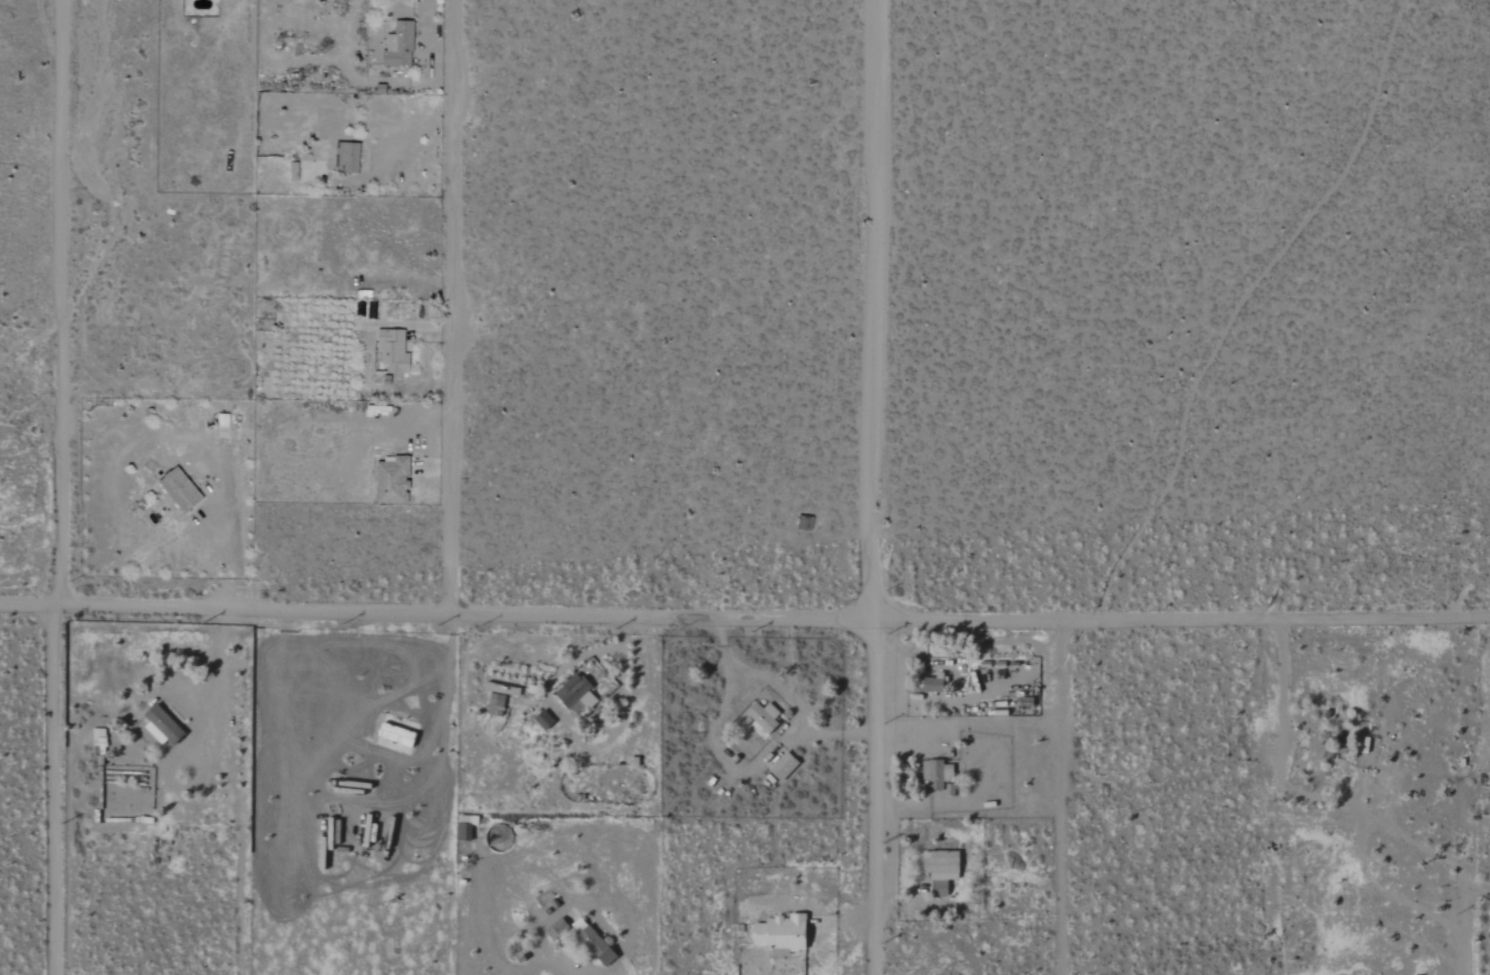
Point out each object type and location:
building: (402, 44)
road: (400, 143)
building: (349, 157)
building: (296, 172)
road: (62, 299)
road: (1239, 304)
road: (454, 305)
road: (871, 307)
building: (396, 351)
building: (396, 482)
building: (183, 491)
road: (234, 536)
road: (744, 614)
road: (722, 645)
building: (934, 685)
road: (730, 687)
building: (578, 694)
building: (767, 717)
building: (546, 720)
building: (164, 726)
road: (910, 726)
building: (786, 766)
building: (938, 774)
road: (55, 786)
road: (871, 794)
road: (1062, 798)
road: (1348, 809)
building: (943, 869)
road: (1389, 899)
road: (841, 923)
building: (785, 934)
building: (598, 947)

